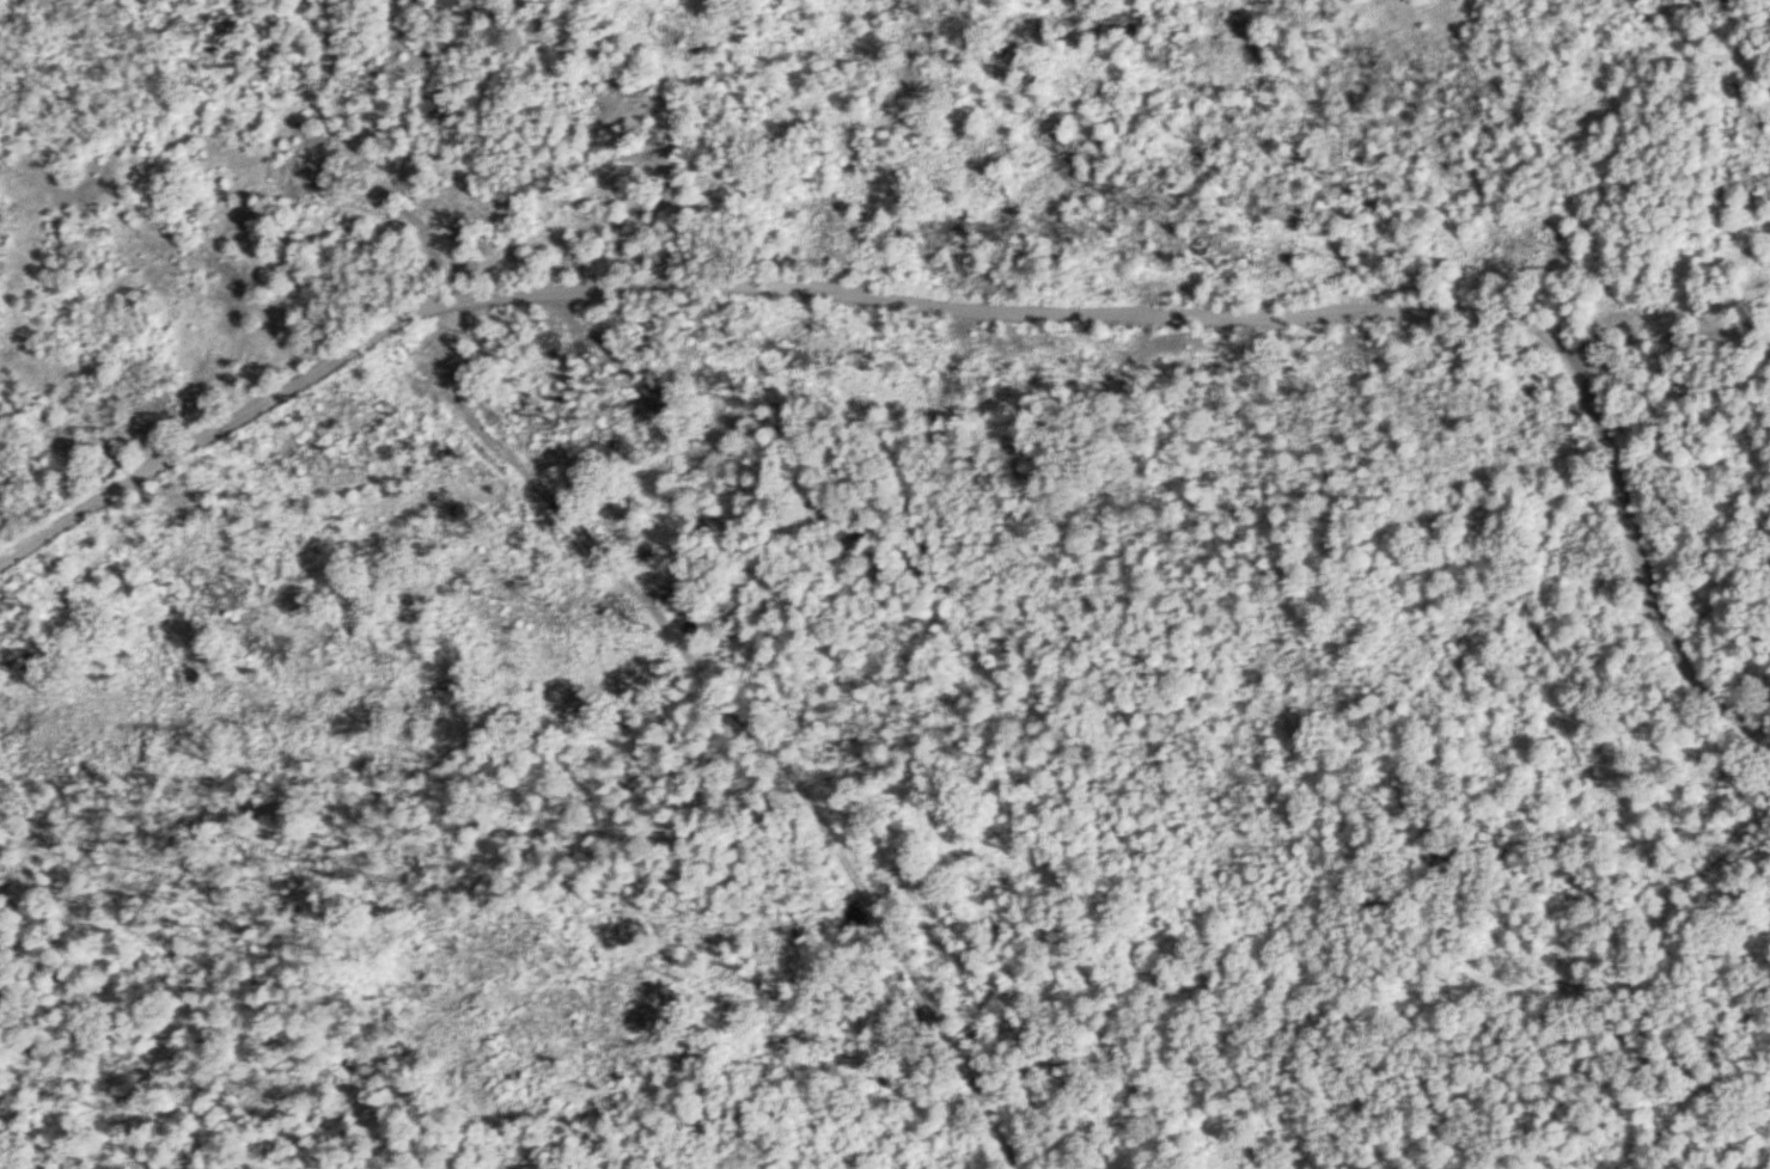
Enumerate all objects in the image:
road: (977, 301)
road: (1679, 338)

